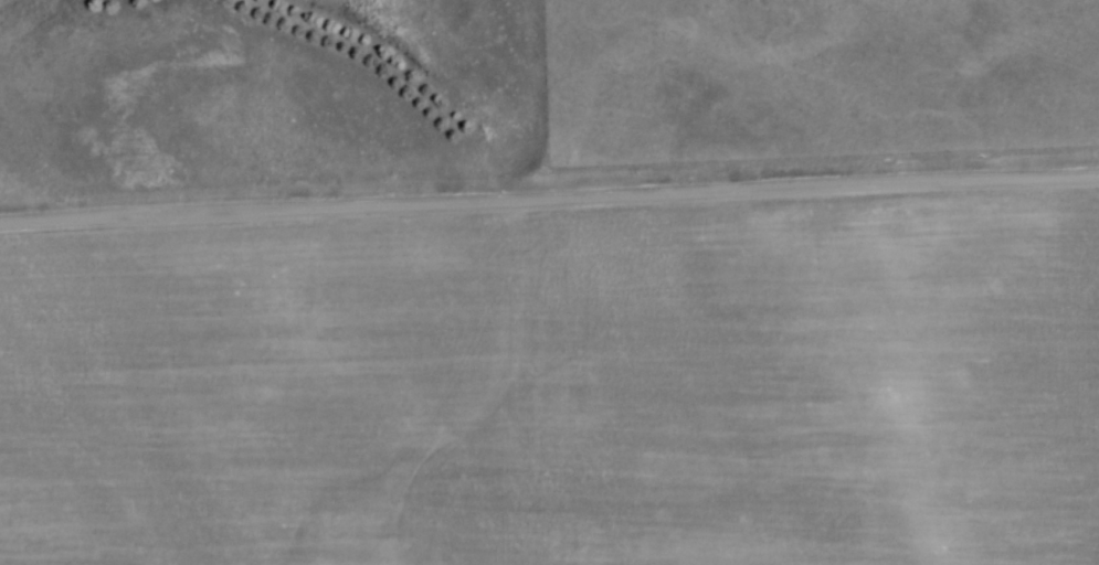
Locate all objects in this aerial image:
road: (549, 196)
crop: (560, 387)

